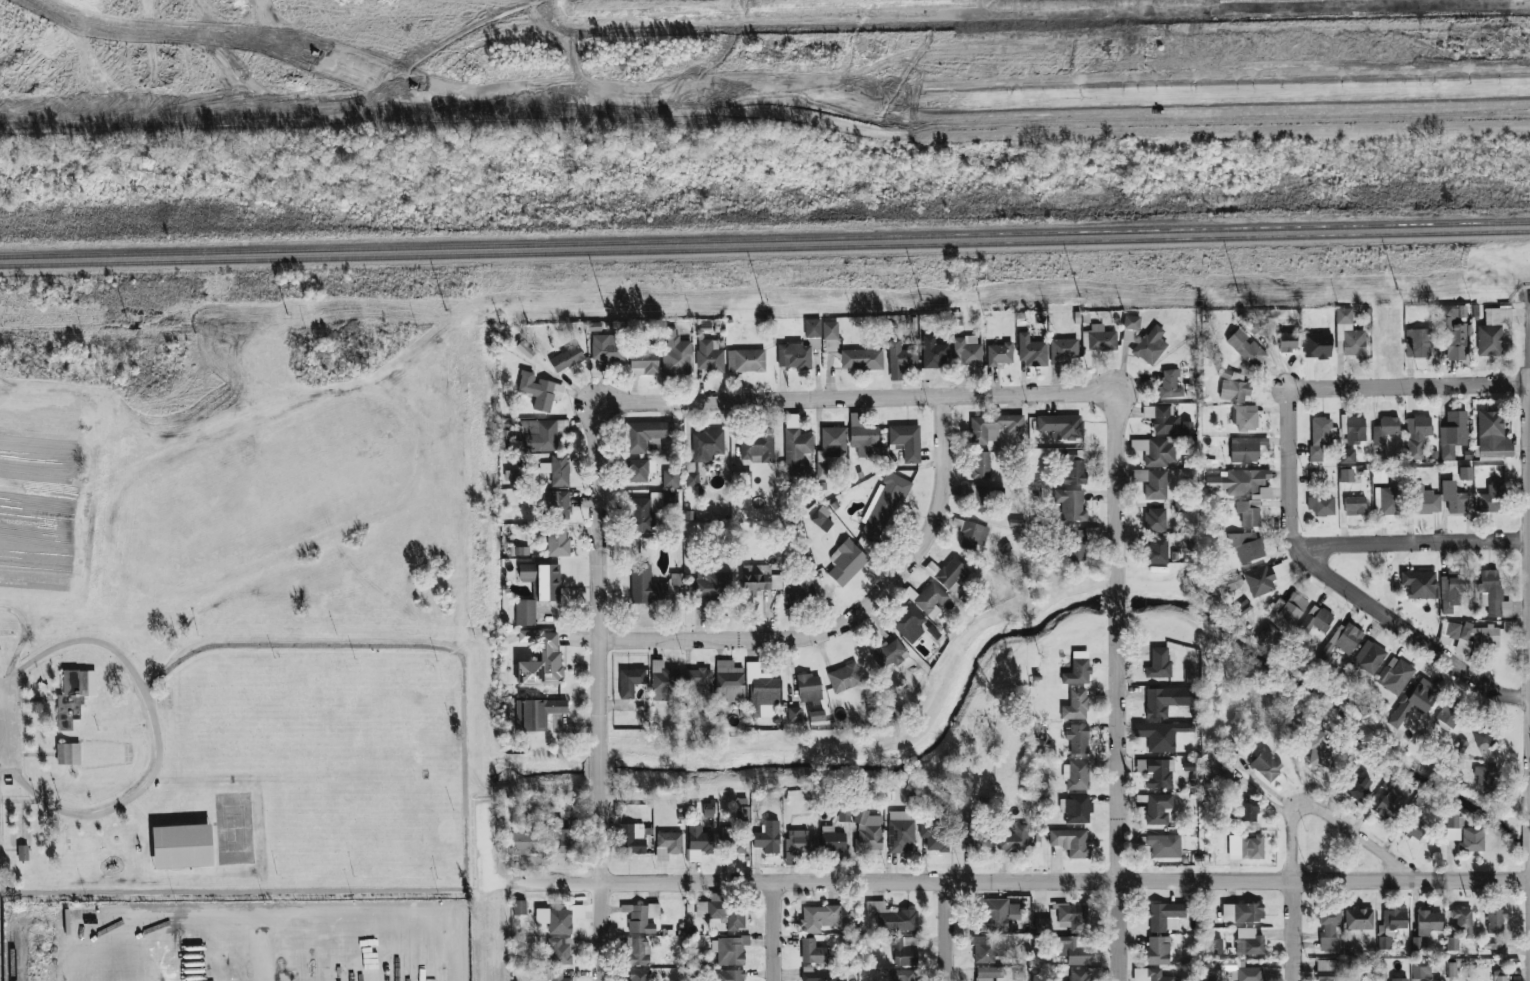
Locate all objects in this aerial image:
railway: (764, 238)
railway: (764, 248)
building: (1131, 322)
building: (812, 327)
building: (830, 329)
building: (1128, 335)
building: (1349, 335)
building: (1453, 335)
building: (1098, 338)
building: (812, 342)
building: (1287, 342)
building: (1418, 343)
building: (831, 345)
building: (1150, 345)
building: (1317, 345)
road: (1529, 345)
building: (1245, 346)
building: (607, 347)
building: (1031, 350)
building: (1063, 350)
building: (967, 351)
building: (675, 353)
building: (933, 353)
building: (999, 354)
building: (709, 355)
building: (793, 355)
building: (566, 359)
building: (861, 359)
building: (900, 359)
building: (745, 360)
building: (644, 363)
building: (926, 373)
building: (1170, 384)
building: (1233, 386)
road: (1407, 386)
building: (540, 390)
road: (854, 398)
building: (1246, 418)
building: (1166, 421)
building: (1061, 426)
building: (1353, 428)
building: (1385, 429)
building: (1453, 433)
building: (541, 434)
building: (646, 434)
building: (1417, 435)
building: (1493, 435)
building: (862, 436)
building: (1320, 436)
building: (833, 441)
building: (906, 441)
building: (707, 445)
building: (795, 445)
building: (756, 446)
building: (1246, 449)
building: (1160, 453)
building: (1347, 456)
building: (982, 464)
building: (639, 469)
building: (1075, 470)
building: (1466, 473)
building: (513, 475)
building: (821, 475)
building: (1379, 476)
building: (670, 478)
building: (691, 478)
building: (1154, 484)
building: (1243, 484)
road: (1114, 489)
building: (974, 493)
building: (1453, 497)
building: (670, 498)
building: (1490, 499)
building: (1425, 500)
building: (556, 503)
building: (1071, 504)
building: (1386, 504)
building: (1321, 505)
building: (1355, 505)
building: (883, 506)
building: (645, 512)
building: (1247, 514)
building: (821, 520)
building: (1155, 520)
building: (973, 535)
building: (557, 541)
road: (1408, 543)
building: (1246, 545)
building: (1076, 546)
building: (1156, 550)
building: (521, 551)
building: (846, 562)
building: (951, 574)
building: (676, 578)
building: (1262, 578)
road: (597, 579)
building: (542, 580)
building: (759, 580)
building: (1229, 584)
building: (1420, 584)
building: (645, 585)
building: (711, 585)
road: (1340, 585)
building: (676, 588)
building: (1452, 589)
building: (801, 591)
building: (1491, 591)
building: (931, 599)
road: (1115, 601)
building: (1289, 608)
building: (525, 612)
road: (849, 618)
building: (1316, 619)
building: (908, 623)
building: (1266, 634)
building: (1472, 635)
building: (1346, 638)
building: (889, 653)
building: (1368, 656)
building: (552, 657)
building: (1158, 663)
building: (1078, 669)
building: (1394, 675)
building: (844, 677)
building: (663, 680)
building: (698, 680)
building: (630, 681)
building: (729, 682)
building: (808, 687)
building: (762, 690)
building: (73, 696)
building: (1166, 700)
building: (1413, 701)
building: (1075, 705)
building: (537, 713)
building: (793, 715)
building: (816, 715)
building: (1446, 718)
road: (3, 729)
building: (1160, 734)
road: (158, 736)
building: (1077, 738)
building: (1483, 738)
building: (1319, 747)
building: (67, 753)
building: (1266, 765)
road: (599, 768)
building: (1159, 773)
building: (1076, 774)
building: (1485, 776)
building: (1357, 789)
road: (1116, 798)
building: (1388, 804)
building: (1158, 808)
building: (1077, 809)
building: (1249, 810)
building: (844, 814)
road: (1289, 825)
building: (1415, 827)
building: (868, 831)
building: (901, 831)
building: (1464, 834)
building: (934, 835)
building: (562, 837)
building: (768, 837)
building: (631, 838)
building: (1013, 839)
building: (978, 840)
building: (833, 841)
building: (524, 842)
building: (698, 842)
building: (1070, 842)
building: (667, 844)
building: (736, 845)
building: (797, 845)
building: (1161, 845)
building: (181, 846)
building: (1245, 847)
building: (22, 852)
road: (599, 880)
road: (1022, 882)
road: (257, 885)
building: (519, 907)
building: (1242, 912)
building: (722, 913)
building: (996, 914)
building: (1165, 916)
building: (641, 917)
building: (819, 917)
building: (892, 917)
building: (1073, 917)
building: (1358, 919)
building: (559, 921)
building: (1495, 921)
building: (1428, 922)
building: (1463, 922)
road: (358, 924)
road: (153, 928)
building: (1328, 928)
road: (950, 931)
road: (771, 932)
building: (1248, 942)
building: (1415, 942)
building: (1451, 944)
road: (75, 945)
railway: (11, 946)
building: (1215, 946)
building: (988, 948)
building: (729, 950)
building: (1158, 950)
building: (638, 951)
building: (812, 951)
building: (905, 951)
building: (1073, 951)
building: (560, 952)
building: (1233, 964)
building: (1451, 969)
building: (1421, 971)
building: (987, 973)
building: (1079, 974)
building: (1250, 974)
building: (638, 975)
building: (729, 975)
building: (816, 975)
building: (903, 975)
building: (1151, 975)
building: (1499, 975)
building: (557, 976)
building: (1398, 979)

